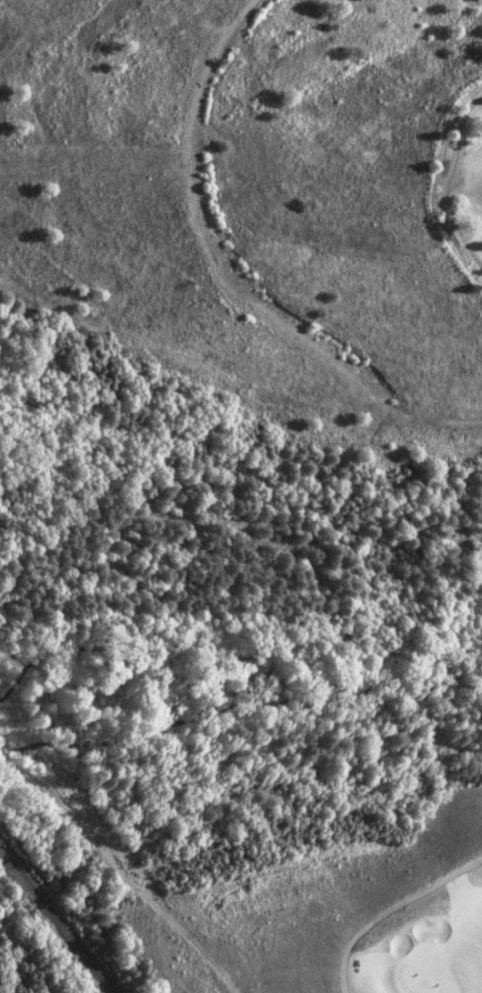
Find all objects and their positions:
park: (456, 175)
road: (445, 182)
park: (279, 780)
road: (389, 908)
railway: (57, 920)

